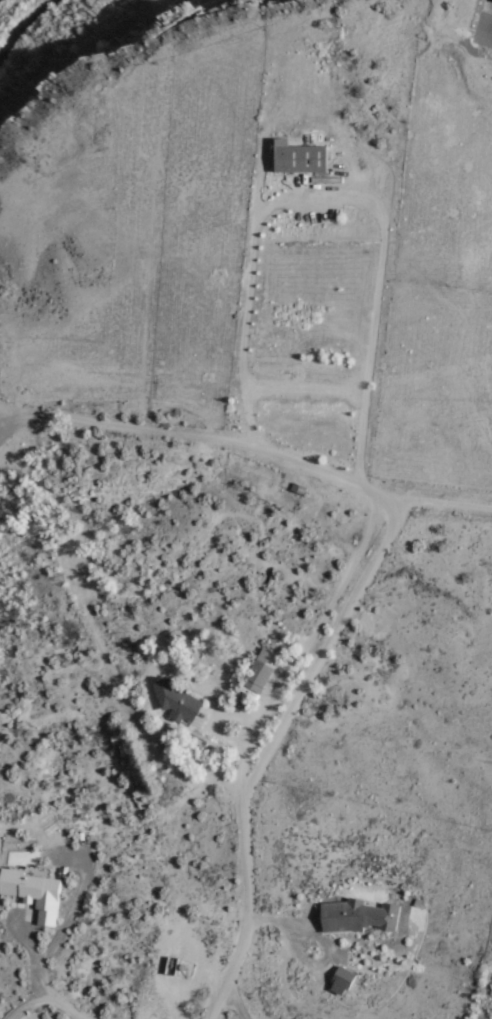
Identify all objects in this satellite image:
road: (11, 10)
road: (77, 52)
building: (301, 158)
road: (345, 197)
road: (306, 387)
road: (39, 418)
road: (439, 504)
road: (357, 595)
road: (297, 660)
building: (263, 671)
building: (177, 701)
road: (212, 721)
building: (35, 894)
road: (76, 906)
building: (359, 917)
road: (323, 944)
road: (37, 960)
building: (343, 981)
road: (236, 1003)
road: (27, 1005)
road: (66, 1006)

